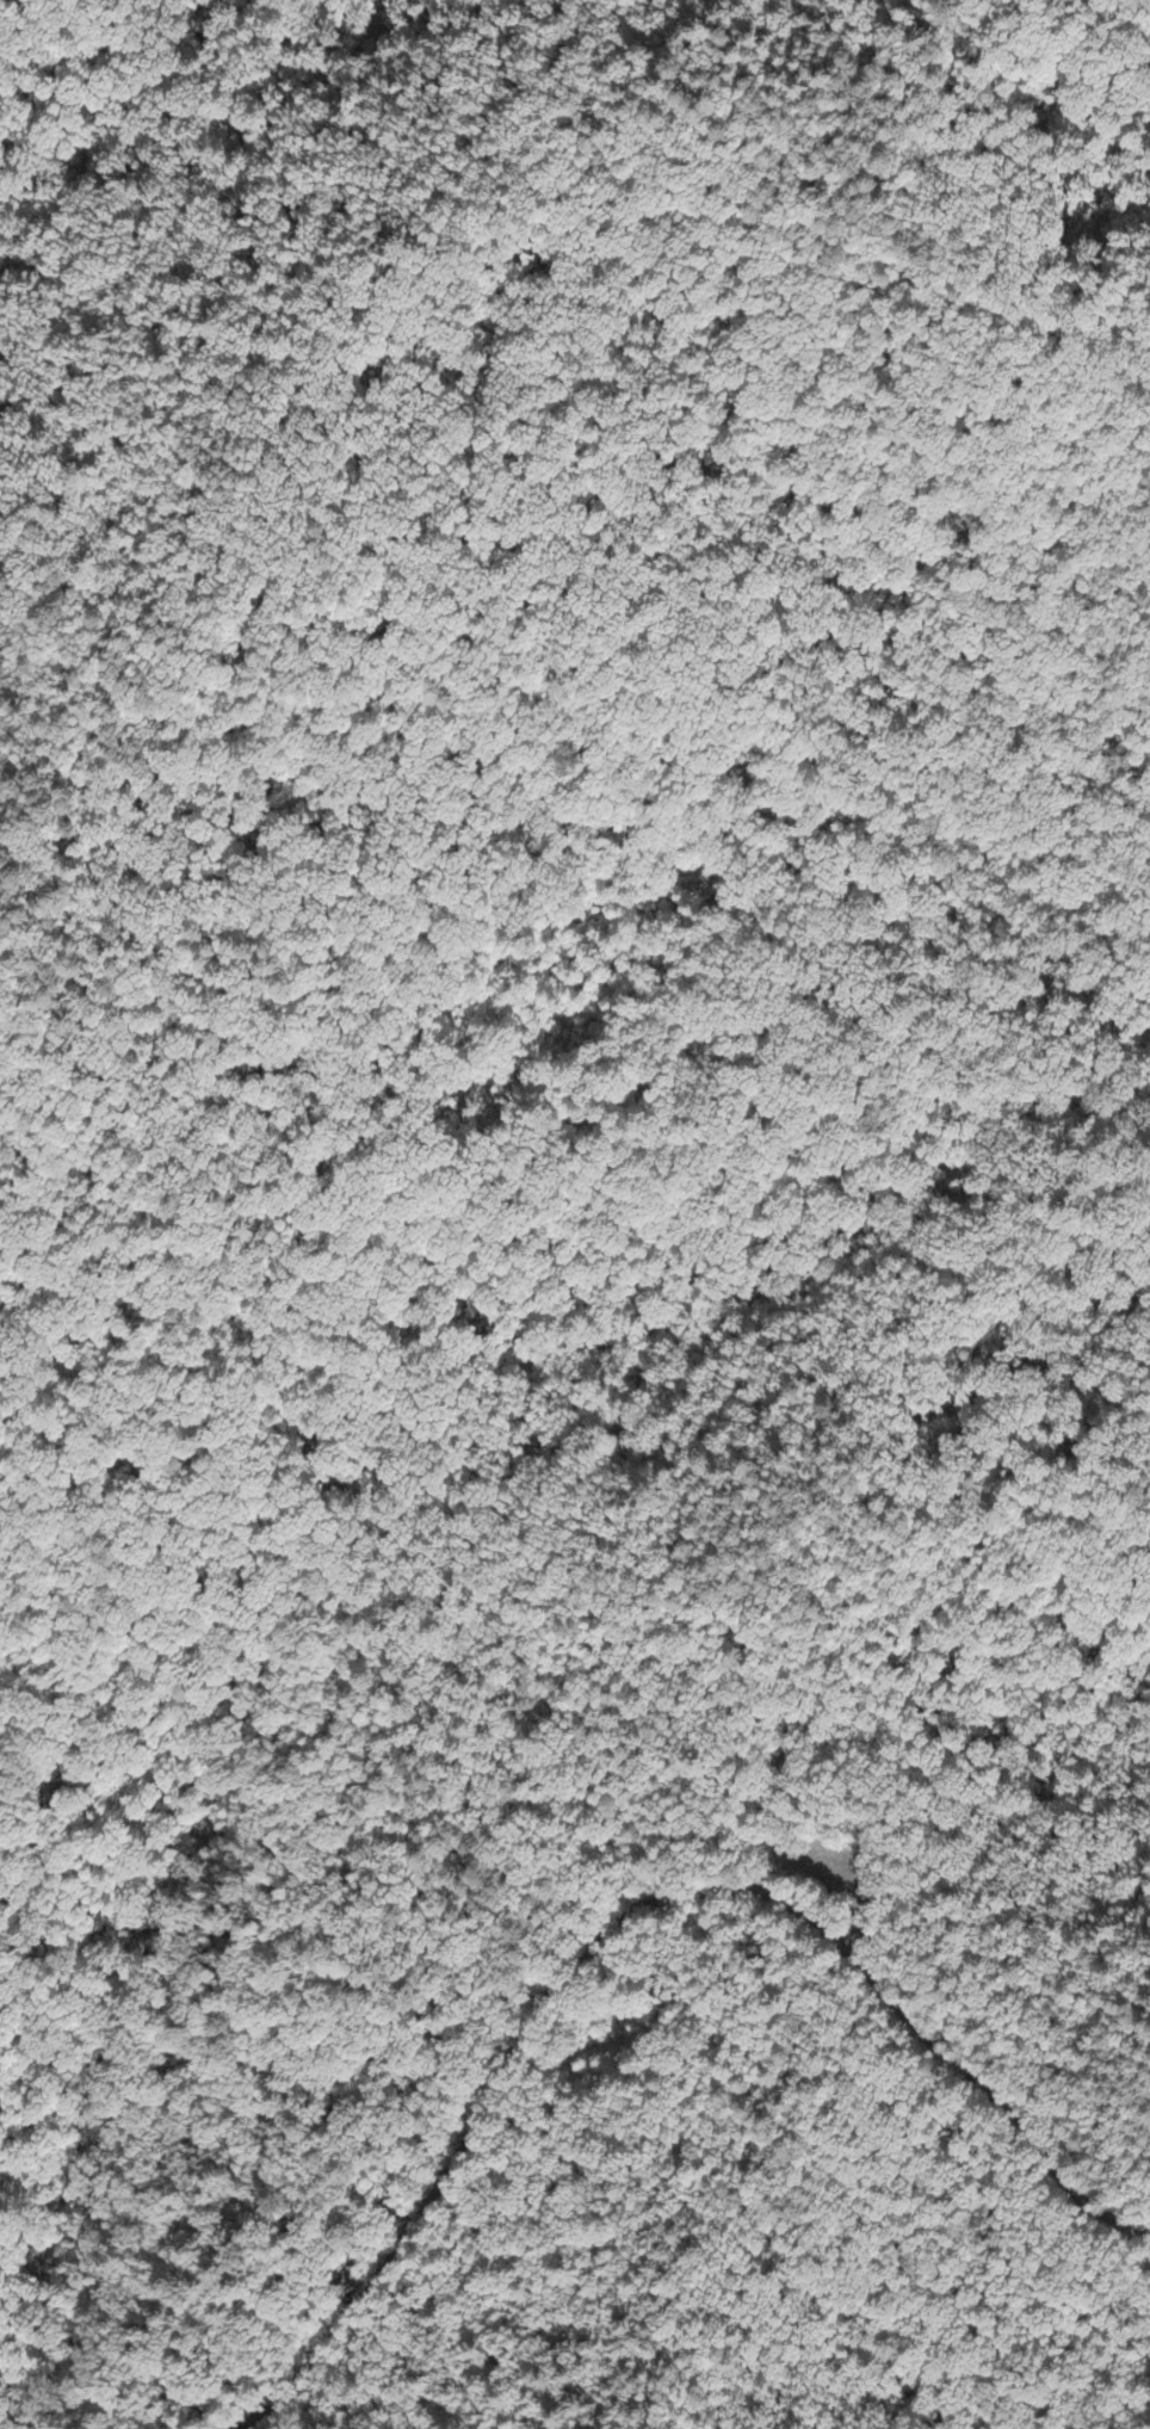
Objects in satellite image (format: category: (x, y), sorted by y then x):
road: (571, 573)
road: (285, 1435)
road: (149, 1731)
road: (475, 1763)
parking lot: (829, 1872)
road: (768, 1878)
road: (849, 1879)
road: (957, 2068)
road: (486, 2122)

